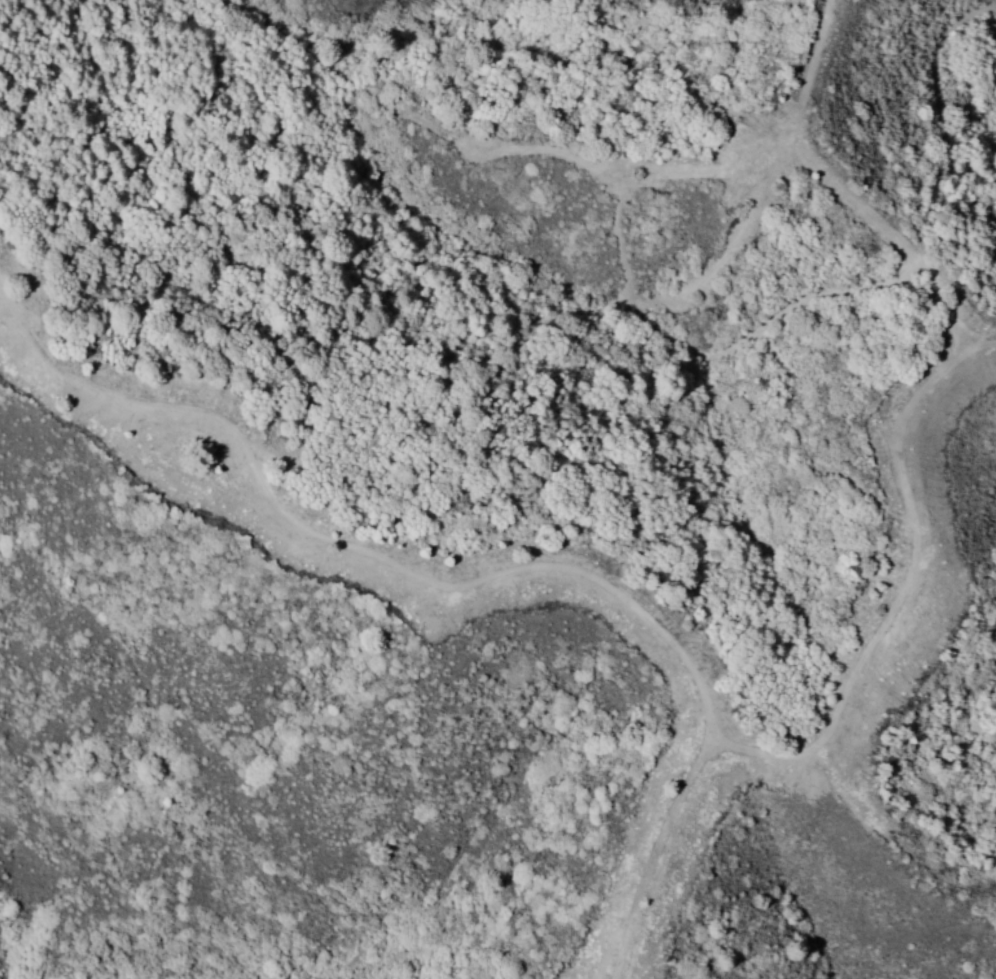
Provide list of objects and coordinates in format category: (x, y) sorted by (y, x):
road: (855, 202)

